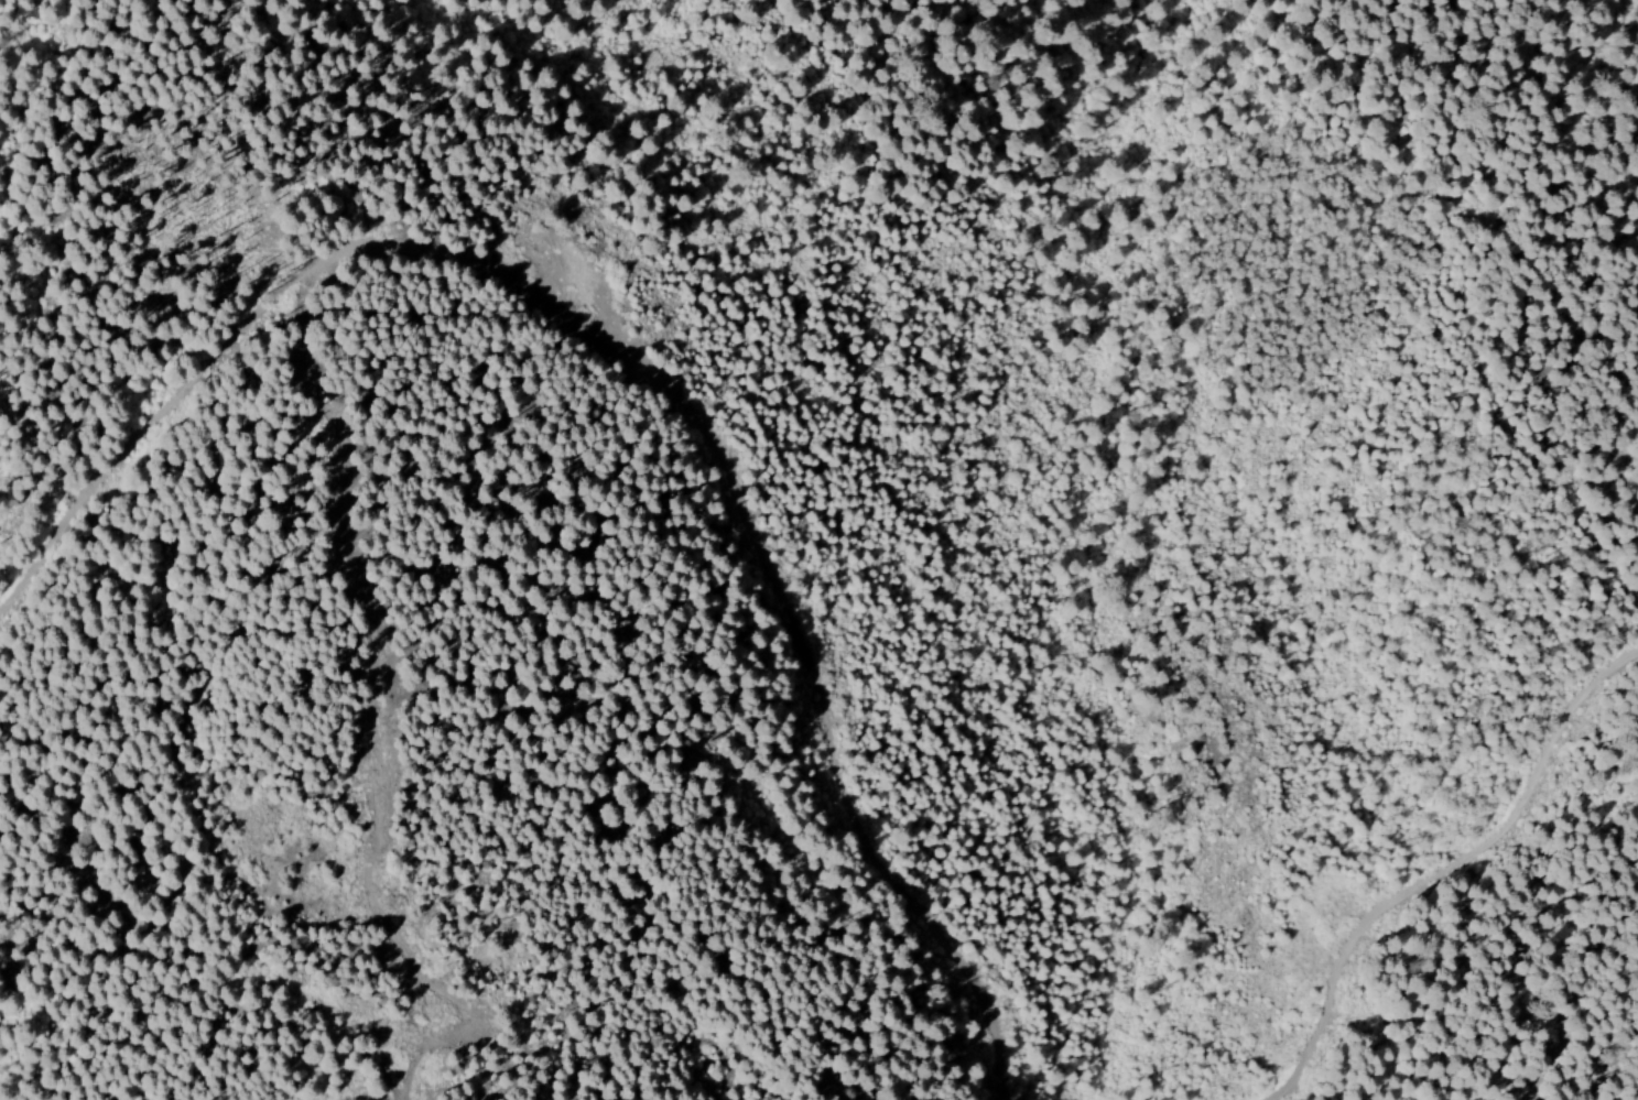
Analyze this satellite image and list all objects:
road: (643, 366)
road: (1452, 875)

